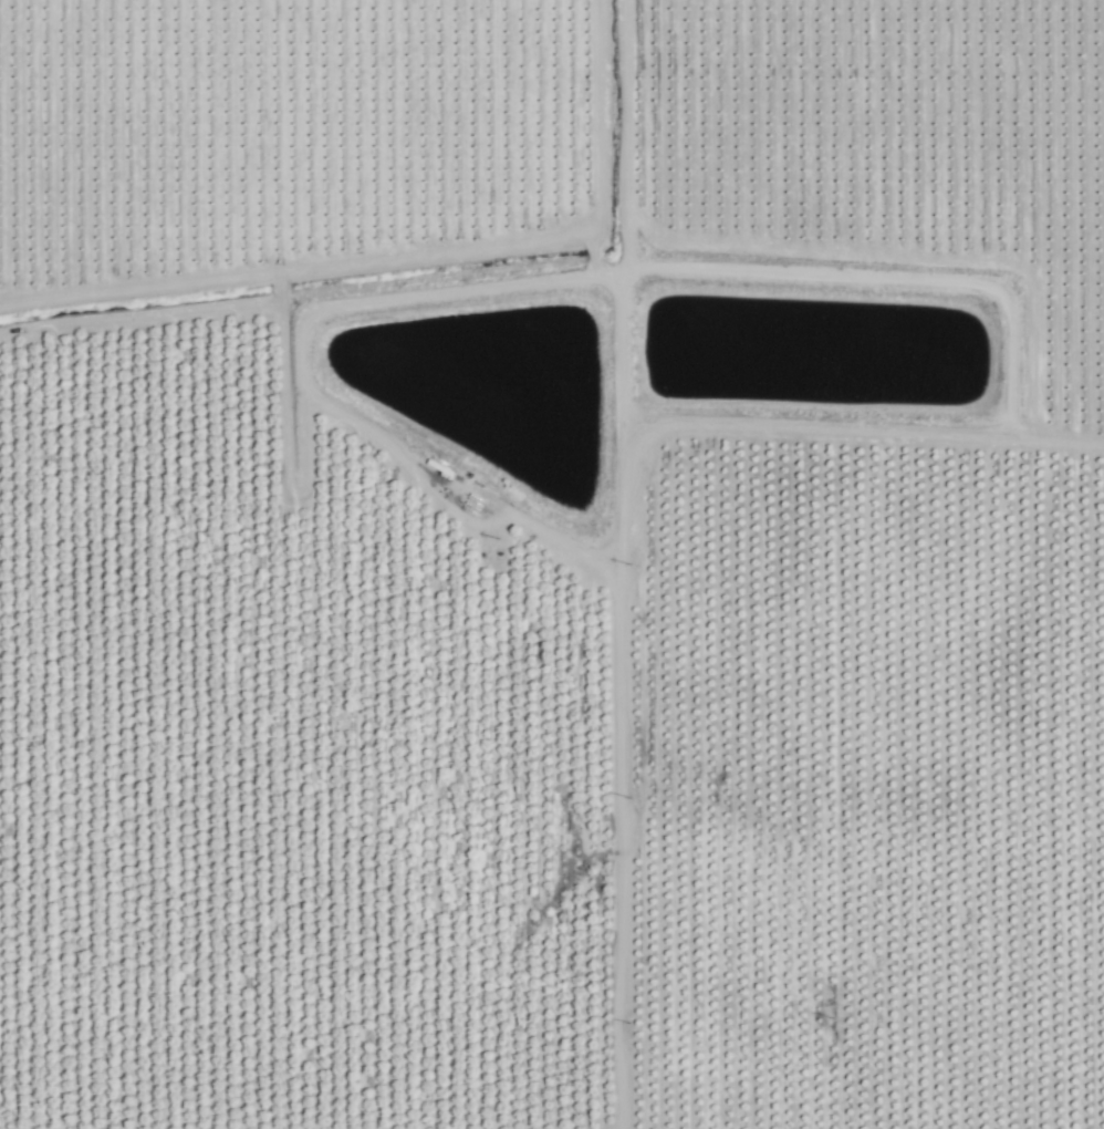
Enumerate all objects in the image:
crop: (552, 564)

